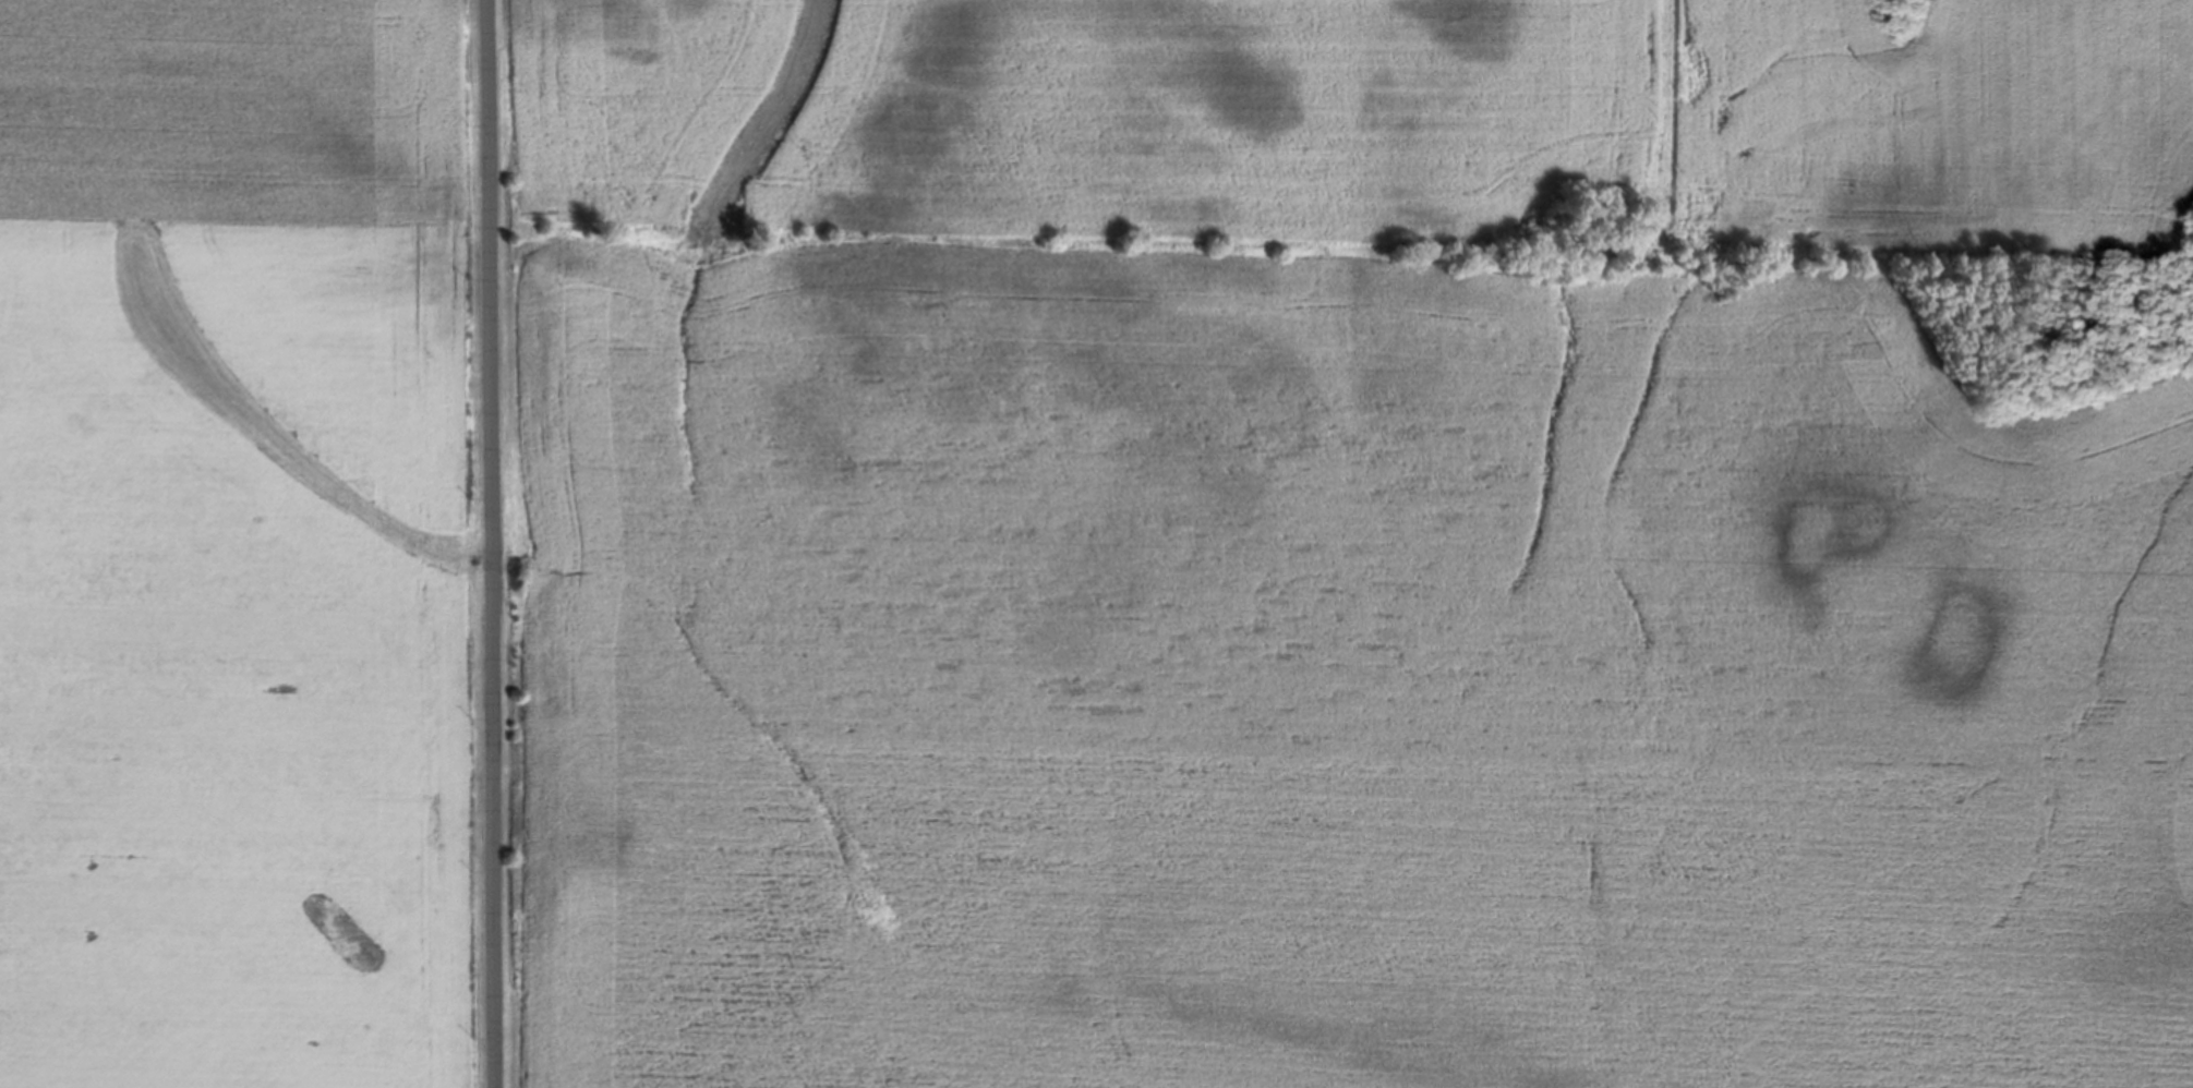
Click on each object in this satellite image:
road: (485, 544)

